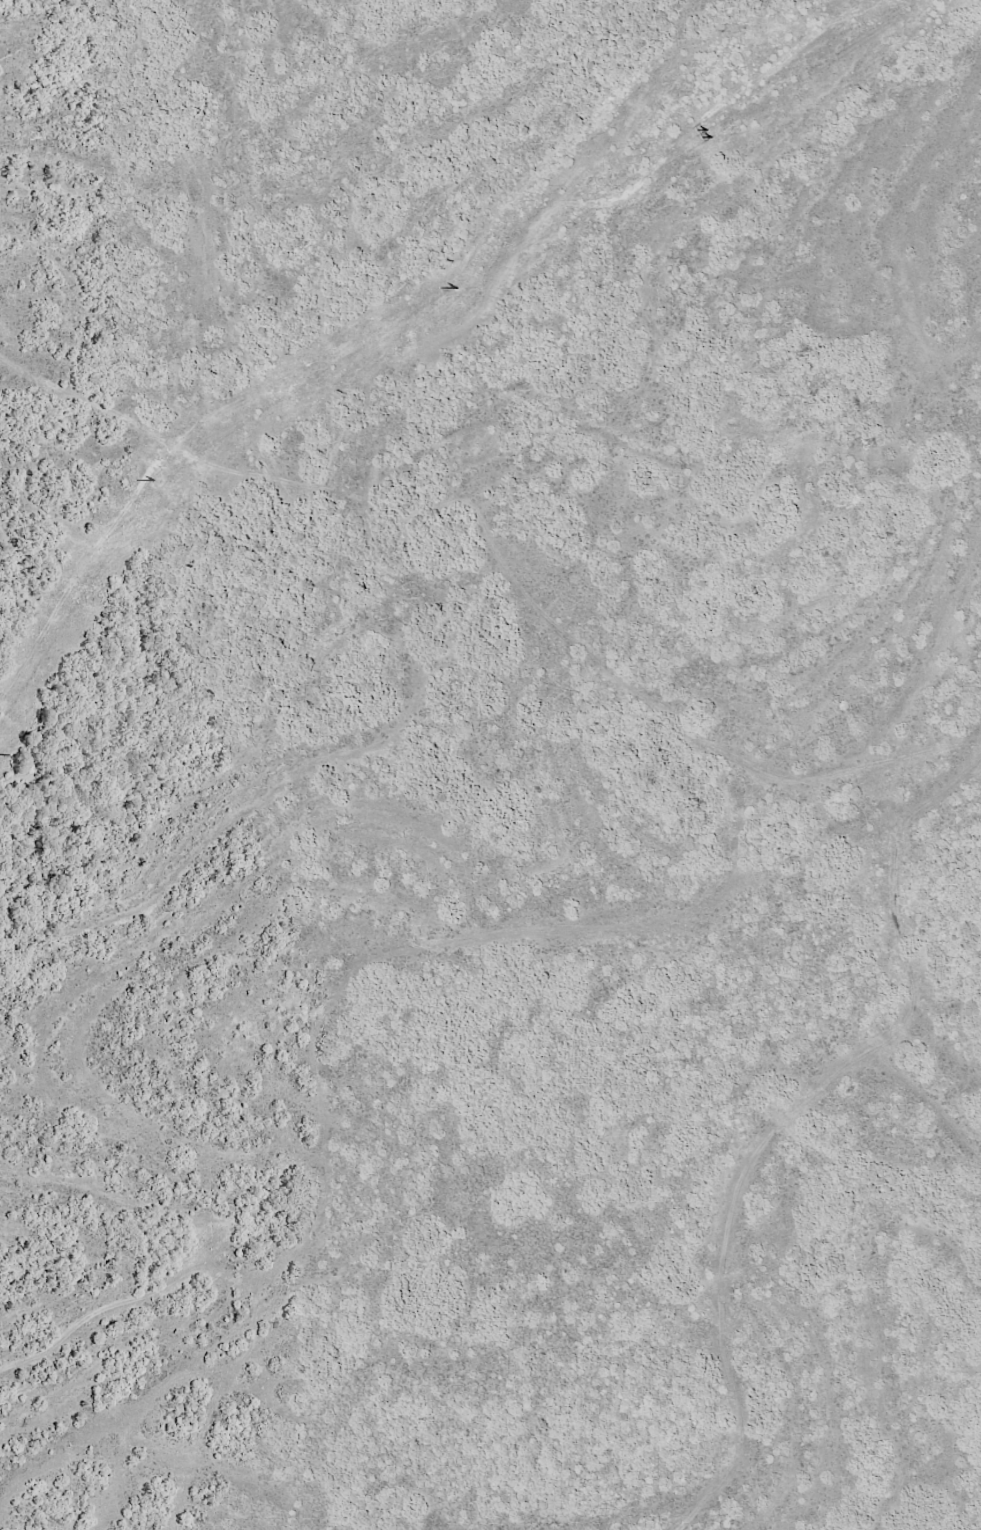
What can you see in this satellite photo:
power tower: (705, 126)
power tower: (458, 285)
power tower: (153, 476)
road: (485, 560)
road: (377, 991)
road: (732, 1180)

